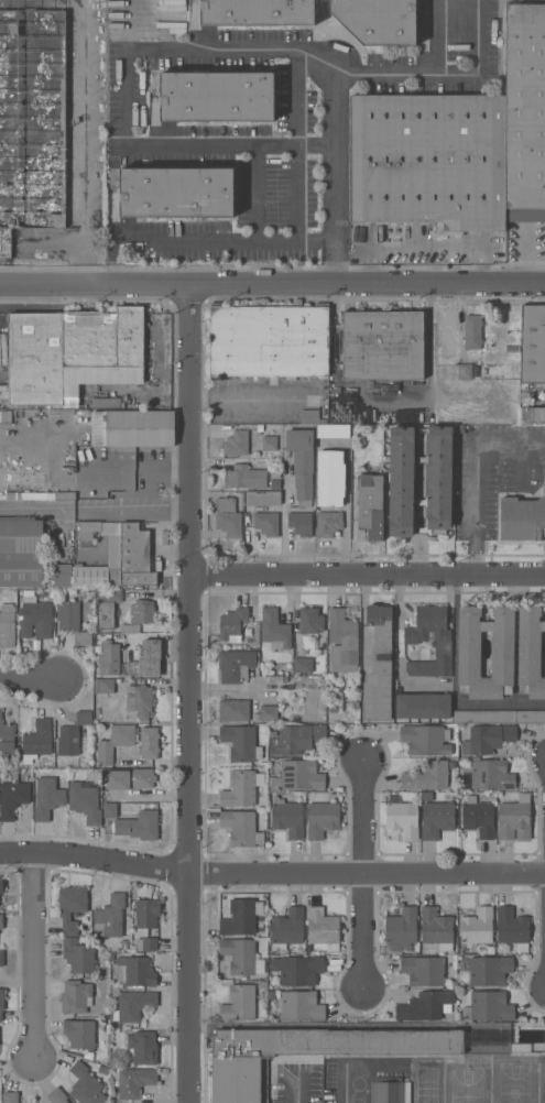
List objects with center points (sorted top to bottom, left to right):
building: (257, 12)
building: (172, 15)
building: (378, 20)
road: (437, 35)
road: (334, 69)
road: (29, 76)
road: (126, 97)
building: (217, 97)
road: (298, 100)
road: (57, 107)
building: (525, 112)
building: (31, 116)
building: (428, 161)
building: (176, 192)
road: (257, 195)
road: (316, 242)
road: (274, 244)
road: (272, 283)
building: (472, 331)
building: (269, 341)
building: (532, 343)
building: (382, 345)
building: (72, 352)
building: (465, 371)
road: (246, 400)
building: (105, 402)
building: (4, 416)
building: (310, 417)
building: (98, 427)
building: (140, 428)
building: (333, 430)
building: (269, 443)
building: (236, 444)
building: (302, 463)
building: (244, 477)
road: (476, 477)
building: (330, 478)
building: (437, 481)
building: (262, 498)
road: (346, 498)
building: (370, 507)
road: (65, 509)
road: (135, 509)
building: (229, 516)
building: (522, 517)
building: (299, 522)
building: (266, 523)
building: (328, 523)
building: (21, 553)
building: (134, 556)
building: (63, 575)
road: (369, 575)
building: (89, 576)
building: (106, 607)
building: (143, 611)
building: (34, 616)
building: (310, 620)
building: (73, 621)
building: (232, 624)
building: (7, 625)
building: (274, 629)
road: (397, 630)
building: (342, 641)
building: (427, 641)
building: (502, 652)
building: (530, 653)
building: (109, 658)
building: (146, 659)
building: (236, 665)
building: (303, 665)
building: (378, 666)
road: (31, 680)
building: (103, 685)
road: (190, 692)
building: (139, 700)
building: (423, 706)
building: (233, 710)
building: (266, 713)
building: (499, 717)
building: (72, 734)
building: (7, 739)
building: (296, 739)
building: (488, 739)
building: (425, 740)
building: (36, 741)
building: (115, 742)
building: (149, 742)
building: (241, 742)
building: (299, 775)
building: (488, 775)
building: (426, 776)
building: (129, 778)
building: (241, 788)
building: (12, 798)
building: (47, 798)
building: (85, 801)
building: (109, 809)
building: (478, 817)
building: (287, 818)
building: (403, 818)
building: (514, 818)
building: (321, 819)
building: (437, 819)
building: (139, 826)
building: (241, 828)
road: (272, 872)
road: (363, 875)
building: (1, 885)
building: (0, 895)
building: (72, 907)
building: (146, 915)
building: (109, 917)
building: (241, 917)
building: (1, 921)
building: (323, 928)
building: (436, 928)
building: (477, 928)
building: (512, 928)
building: (287, 929)
building: (401, 930)
building: (146, 943)
building: (78, 955)
building: (241, 957)
building: (1, 958)
road: (35, 959)
building: (297, 970)
building: (424, 970)
building: (489, 970)
building: (138, 971)
building: (76, 995)
building: (1, 1003)
building: (239, 1004)
building: (133, 1005)
building: (301, 1005)
building: (425, 1005)
building: (489, 1006)
building: (79, 1034)
building: (495, 1041)
building: (142, 1048)
building: (307, 1052)
building: (134, 1081)
park: (514, 1082)
building: (85, 1085)
park: (467, 1086)
road: (297, 1089)
road: (345, 1090)
building: (389, 1090)
building: (57, 1095)
building: (11, 1096)

